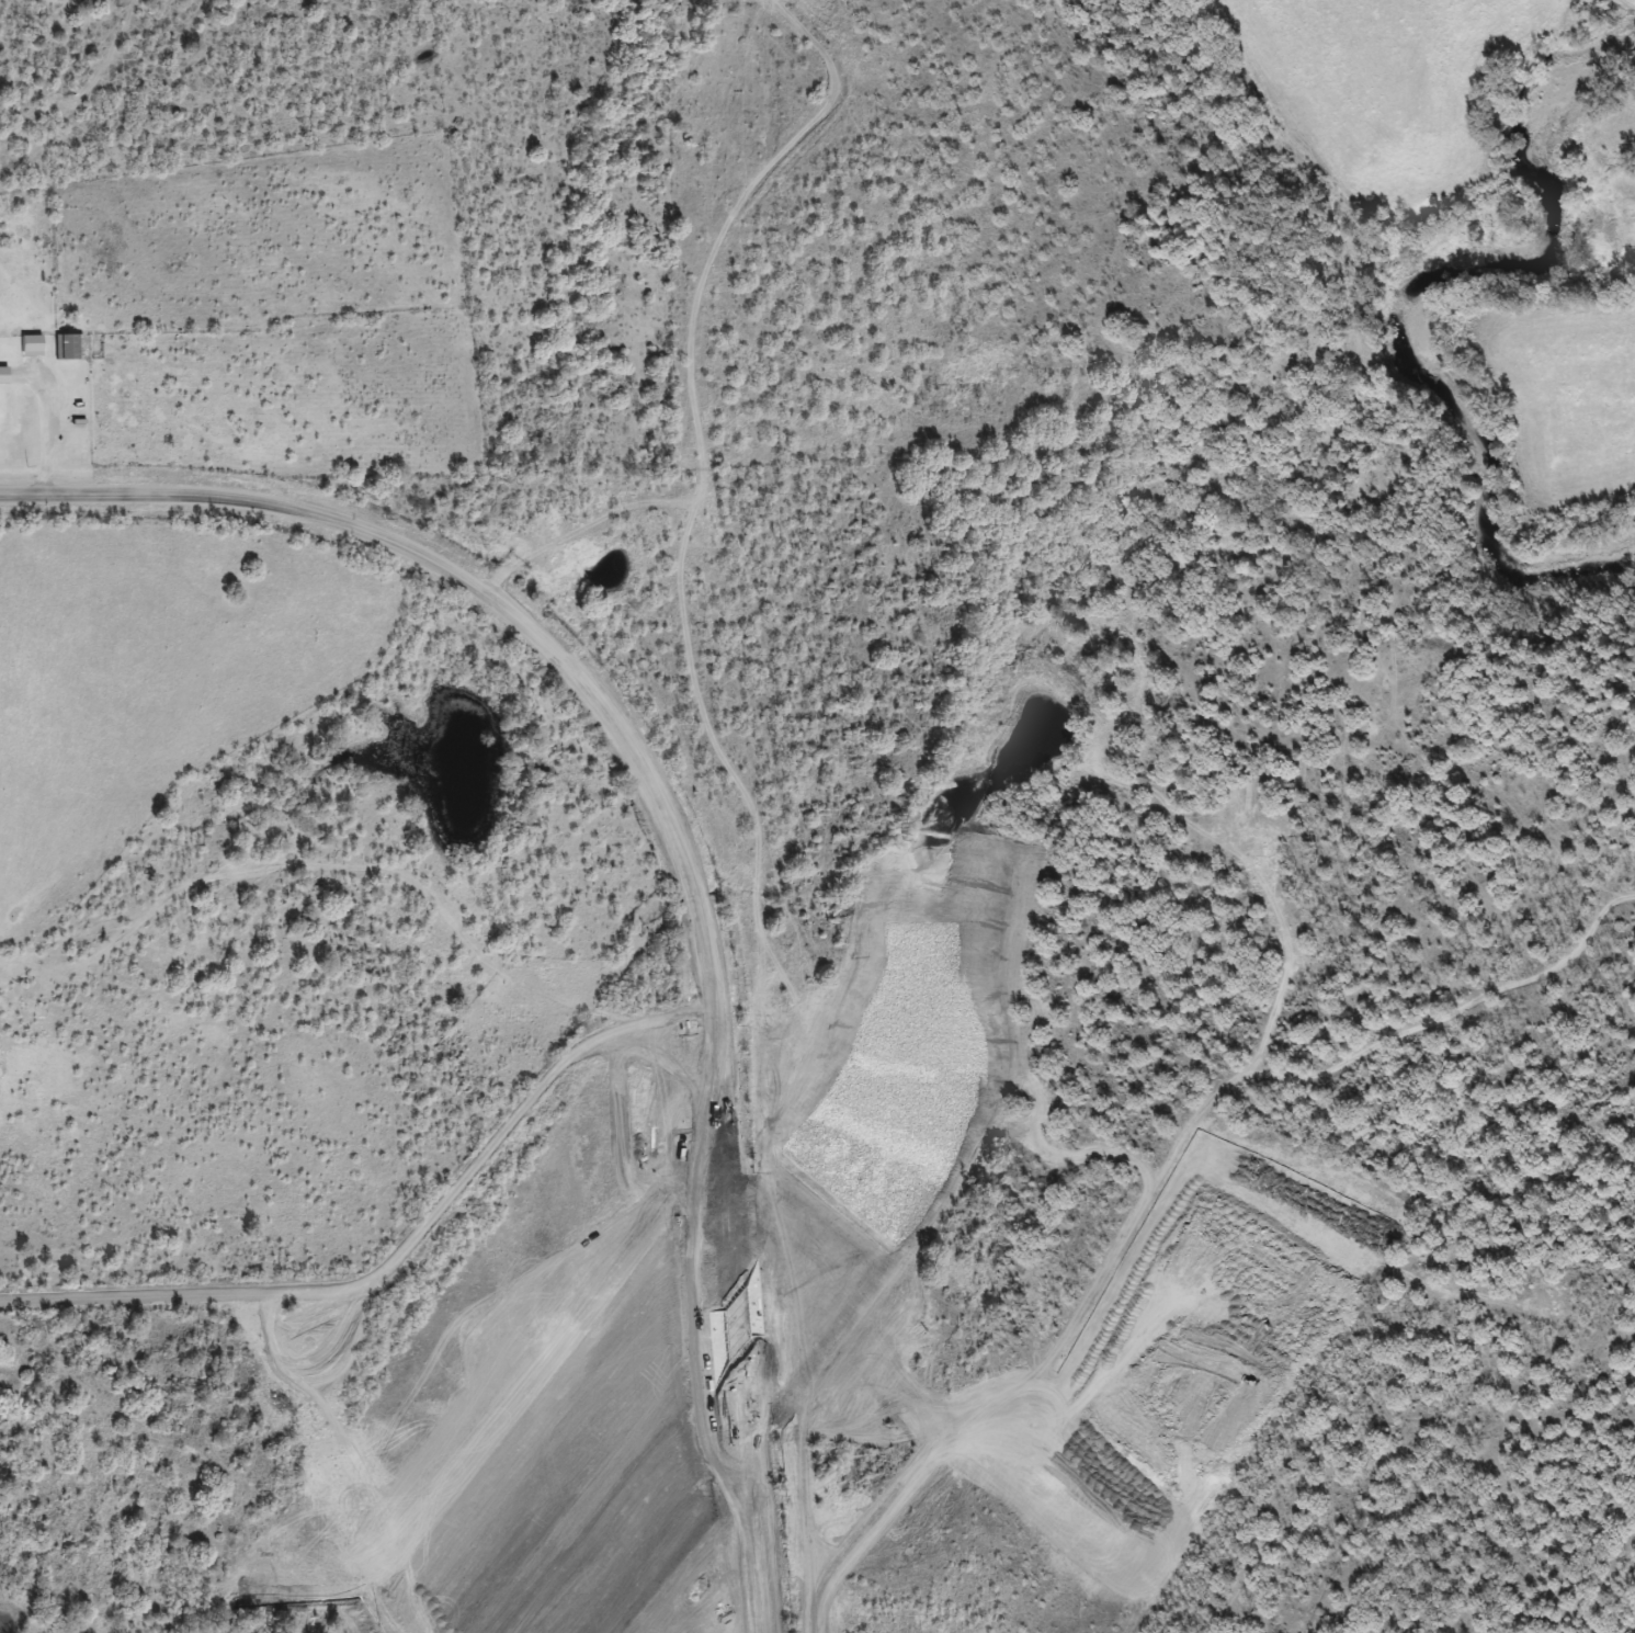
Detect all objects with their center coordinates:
road: (700, 332)
building: (34, 345)
building: (70, 348)
road: (672, 830)
road: (400, 1255)

